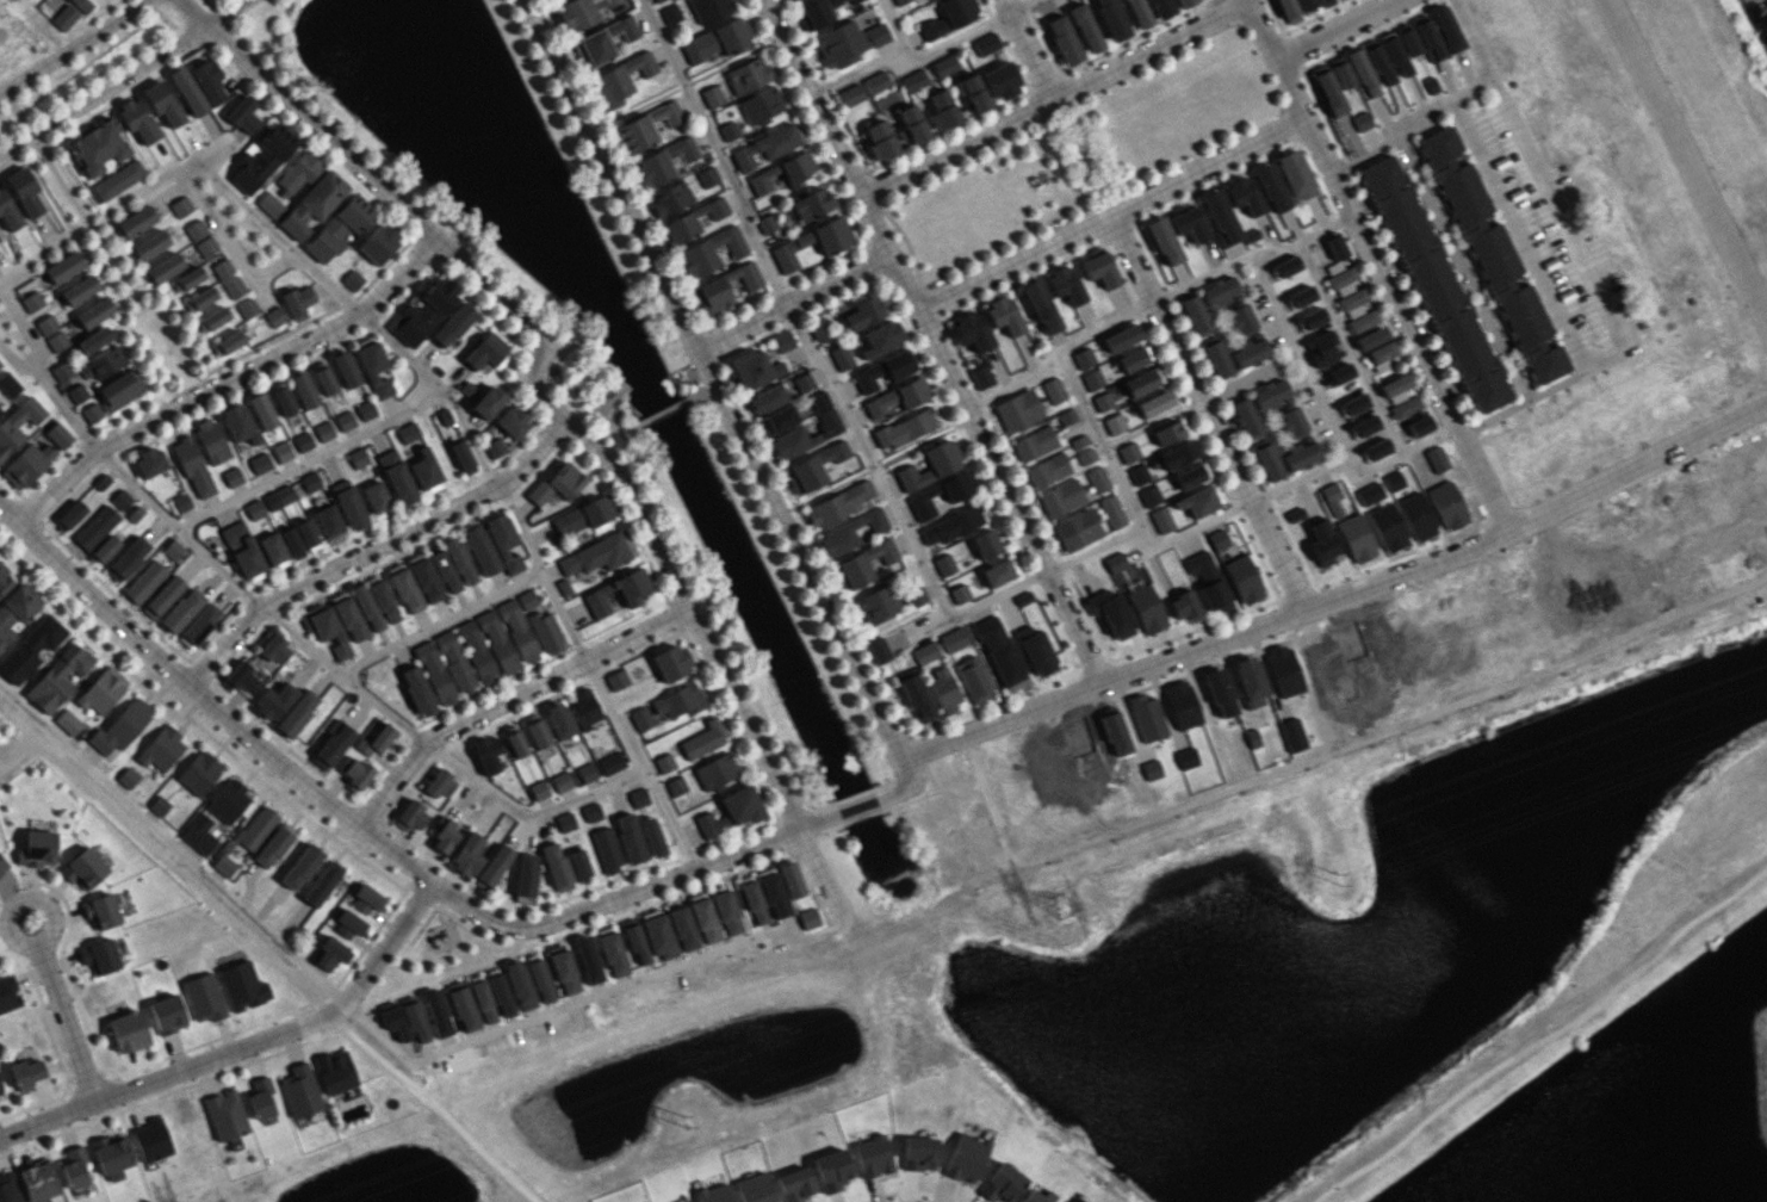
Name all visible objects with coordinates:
building: (657, 0)
building: (788, 0)
building: (852, 1)
building: (899, 1)
building: (1184, 2)
building: (1325, 2)
building: (1306, 4)
building: (82, 5)
building: (1161, 7)
building: (709, 8)
building: (1288, 11)
building: (582, 12)
building: (817, 12)
building: (1137, 13)
road: (229, 14)
building: (671, 14)
building: (63, 17)
building: (949, 17)
building: (1111, 19)
road: (894, 26)
building: (1085, 27)
road: (1332, 29)
building: (1446, 29)
building: (876, 33)
road: (1471, 38)
building: (718, 39)
building: (1062, 39)
building: (1428, 39)
building: (603, 41)
building: (1408, 41)
building: (985, 43)
building: (839, 44)
road: (69, 45)
road: (1025, 49)
building: (1394, 52)
road: (919, 54)
road: (1275, 61)
building: (1378, 63)
building: (944, 66)
building: (1340, 72)
building: (1362, 73)
building: (748, 75)
building: (621, 79)
building: (207, 81)
building: (875, 81)
building: (913, 81)
building: (1000, 81)
building: (1327, 89)
building: (187, 91)
road: (104, 93)
building: (973, 93)
building: (849, 95)
building: (712, 97)
road: (1049, 100)
building: (761, 105)
building: (941, 110)
building: (243, 114)
building: (1360, 120)
building: (910, 125)
building: (645, 126)
building: (728, 131)
building: (879, 141)
building: (768, 144)
building: (97, 147)
road: (718, 150)
road: (1365, 155)
building: (261, 159)
park: (1079, 159)
road: (1688, 160)
building: (663, 161)
road: (207, 167)
building: (796, 168)
building: (298, 172)
building: (1294, 174)
building: (707, 176)
building: (765, 179)
building: (118, 180)
building: (1271, 187)
road: (145, 188)
building: (1244, 196)
building: (670, 198)
building: (269, 204)
building: (312, 204)
building: (812, 204)
building: (180, 206)
building: (1219, 217)
road: (1110, 218)
building: (692, 219)
building: (135, 222)
building: (767, 223)
building: (1189, 224)
building: (339, 228)
building: (832, 235)
building: (199, 237)
road: (1447, 237)
road: (1302, 240)
building: (1162, 241)
building: (378, 242)
building: (149, 244)
building: (709, 252)
building: (789, 252)
road: (33, 258)
building: (1494, 261)
building: (1286, 266)
building: (63, 267)
building: (165, 267)
building: (222, 268)
building: (1098, 268)
building: (187, 279)
building: (1341, 280)
building: (1065, 284)
building: (1434, 284)
building: (232, 286)
building: (724, 287)
building: (79, 290)
building: (1219, 291)
building: (1302, 296)
building: (199, 299)
building: (31, 300)
building: (297, 302)
road: (789, 302)
building: (1352, 302)
building: (1040, 306)
building: (247, 308)
road: (1276, 311)
building: (93, 312)
building: (423, 312)
building: (862, 312)
building: (1195, 312)
building: (1004, 315)
building: (274, 316)
building: (1312, 317)
building: (212, 318)
building: (1241, 320)
building: (1362, 320)
road: (21, 323)
building: (45, 324)
building: (452, 324)
road: (1406, 327)
building: (819, 329)
building: (971, 332)
building: (881, 337)
building: (1121, 337)
building: (1371, 337)
building: (94, 340)
building: (782, 340)
road: (932, 340)
building: (56, 341)
building: (227, 342)
road: (1350, 346)
building: (485, 351)
building: (1381, 351)
building: (1248, 353)
building: (841, 357)
building: (1083, 358)
building: (1217, 358)
building: (1134, 359)
road: (1585, 361)
building: (104, 363)
building: (0, 365)
building: (1381, 365)
building: (345, 368)
building: (373, 368)
building: (755, 368)
building: (883, 370)
building: (60, 371)
road: (526, 373)
building: (981, 376)
road: (1250, 377)
building: (323, 378)
road: (709, 378)
road: (224, 379)
building: (1092, 379)
building: (804, 382)
building: (1142, 382)
building: (8, 384)
road: (1013, 384)
road: (49, 388)
road: (441, 388)
building: (1395, 388)
building: (467, 389)
building: (119, 390)
building: (303, 390)
building: (1053, 390)
building: (76, 392)
building: (1270, 395)
building: (898, 397)
building: (281, 398)
building: (767, 398)
road: (1530, 398)
building: (488, 401)
building: (819, 401)
building: (1102, 401)
building: (1154, 403)
building: (1354, 403)
building: (1406, 407)
building: (261, 410)
building: (365, 410)
building: (1017, 410)
building: (0, 413)
building: (91, 413)
road: (1208, 413)
building: (1246, 416)
building: (781, 417)
building: (345, 420)
building: (511, 421)
building: (1292, 422)
building: (17, 423)
building: (237, 423)
building: (1114, 423)
building: (1365, 425)
building: (905, 428)
building: (323, 430)
building: (1170, 432)
building: (408, 433)
building: (57, 434)
building: (792, 434)
building: (210, 440)
building: (302, 441)
building: (1078, 441)
building: (1034, 442)
building: (494, 447)
road: (1104, 448)
building: (1377, 448)
building: (281, 451)
building: (1128, 452)
building: (1178, 454)
building: (1300, 456)
building: (356, 457)
building: (461, 457)
building: (1085, 457)
road: (869, 458)
road: (309, 459)
building: (1269, 460)
building: (149, 461)
building: (259, 463)
building: (26, 464)
building: (931, 464)
road: (1353, 464)
building: (192, 467)
building: (814, 467)
building: (1047, 470)
building: (426, 471)
building: (1139, 475)
building: (1191, 475)
building: (231, 476)
building: (397, 477)
building: (1097, 479)
building: (310, 481)
building: (558, 483)
building: (940, 495)
building: (1149, 496)
building: (278, 497)
building: (1061, 497)
building: (120, 498)
building: (377, 498)
building: (1332, 498)
building: (1199, 500)
building: (180, 502)
building: (839, 503)
building: (349, 508)
building: (254, 509)
building: (1111, 512)
building: (1295, 514)
building: (69, 515)
building: (583, 515)
building: (328, 520)
building: (1161, 520)
building: (951, 525)
road: (174, 526)
building: (95, 527)
building: (1077, 529)
building: (849, 532)
building: (306, 535)
building: (1216, 537)
building: (1356, 538)
building: (503, 541)
building: (291, 543)
building: (1322, 543)
building: (985, 544)
building: (107, 545)
building: (272, 547)
road: (371, 547)
building: (172, 549)
road: (1092, 549)
building: (480, 550)
building: (243, 552)
building: (599, 553)
building: (126, 558)
building: (458, 560)
building: (1115, 562)
building: (944, 564)
building: (444, 571)
building: (999, 571)
building: (1242, 578)
building: (5, 580)
building: (426, 580)
building: (143, 581)
building: (1207, 581)
building: (563, 587)
building: (405, 590)
building: (637, 593)
building: (959, 594)
building: (162, 596)
building: (916, 596)
building: (383, 601)
building: (878, 603)
road: (971, 606)
building: (1184, 606)
road: (1310, 606)
building: (366, 607)
building: (1145, 607)
building: (15, 609)
building: (181, 609)
road: (1674, 609)
building: (1114, 617)
building: (348, 619)
road: (439, 621)
building: (198, 625)
building: (328, 631)
building: (510, 632)
building: (546, 632)
building: (954, 639)
building: (30, 649)
building: (274, 649)
building: (879, 650)
building: (476, 651)
building: (925, 652)
building: (999, 653)
building: (1037, 653)
building: (454, 659)
building: (671, 662)
building: (434, 673)
road: (340, 674)
building: (57, 677)
road: (591, 677)
building: (241, 680)
building: (616, 680)
building: (973, 680)
building: (100, 690)
building: (417, 690)
building: (944, 690)
road: (508, 695)
building: (917, 698)
building: (273, 700)
building: (680, 700)
road: (206, 701)
building: (584, 708)
building: (296, 713)
building: (640, 718)
building: (559, 720)
building: (67, 721)
building: (120, 726)
building: (537, 731)
building: (703, 739)
building: (374, 741)
building: (514, 741)
building: (331, 744)
building: (161, 749)
building: (664, 762)
road: (1297, 762)
building: (610, 763)
building: (198, 772)
building: (587, 772)
building: (715, 772)
building: (353, 773)
building: (126, 777)
building: (562, 781)
building: (439, 783)
building: (676, 786)
building: (538, 789)
road: (988, 799)
building: (228, 800)
building: (159, 805)
road: (858, 806)
building: (731, 811)
building: (591, 812)
road: (525, 813)
building: (410, 816)
building: (565, 822)
building: (256, 828)
building: (198, 834)
building: (444, 836)
building: (652, 836)
building: (630, 837)
road: (169, 843)
building: (273, 844)
building: (36, 849)
building: (606, 849)
building: (467, 854)
road: (168, 860)
building: (2, 863)
building: (578, 863)
building: (223, 865)
building: (494, 865)
building: (300, 866)
building: (556, 867)
building: (82, 868)
power tower: (1344, 873)
building: (525, 874)
road: (821, 875)
building: (790, 879)
building: (322, 882)
road: (631, 890)
building: (774, 896)
building: (365, 899)
power tower: (1066, 901)
building: (754, 903)
building: (100, 911)
building: (727, 912)
building: (808, 918)
building: (705, 921)
building: (347, 925)
building: (683, 928)
road: (6, 931)
building: (657, 934)
road: (812, 935)
park: (424, 941)
building: (635, 943)
building: (330, 953)
building: (612, 954)
building: (98, 955)
building: (588, 962)
building: (564, 972)
building: (540, 981)
building: (242, 985)
building: (519, 985)
building: (8, 993)
road: (593, 995)
building: (500, 996)
building: (203, 997)
building: (483, 1002)
building: (463, 1009)
building: (435, 1012)
building: (166, 1014)
road: (64, 1021)
building: (395, 1021)
building: (414, 1021)
road: (373, 1029)
building: (126, 1030)
road: (241, 1042)
building: (334, 1072)
building: (25, 1073)
building: (299, 1090)
building: (0, 1092)
building: (260, 1097)
road: (433, 1105)
building: (224, 1115)
power tower: (687, 1121)
building: (150, 1140)
building: (918, 1153)
building: (111, 1154)
building: (873, 1157)
building: (966, 1158)
building: (74, 1167)
building: (832, 1169)
building: (37, 1181)
building: (1002, 1183)
building: (794, 1184)
building: (8, 1188)
building: (713, 1194)

